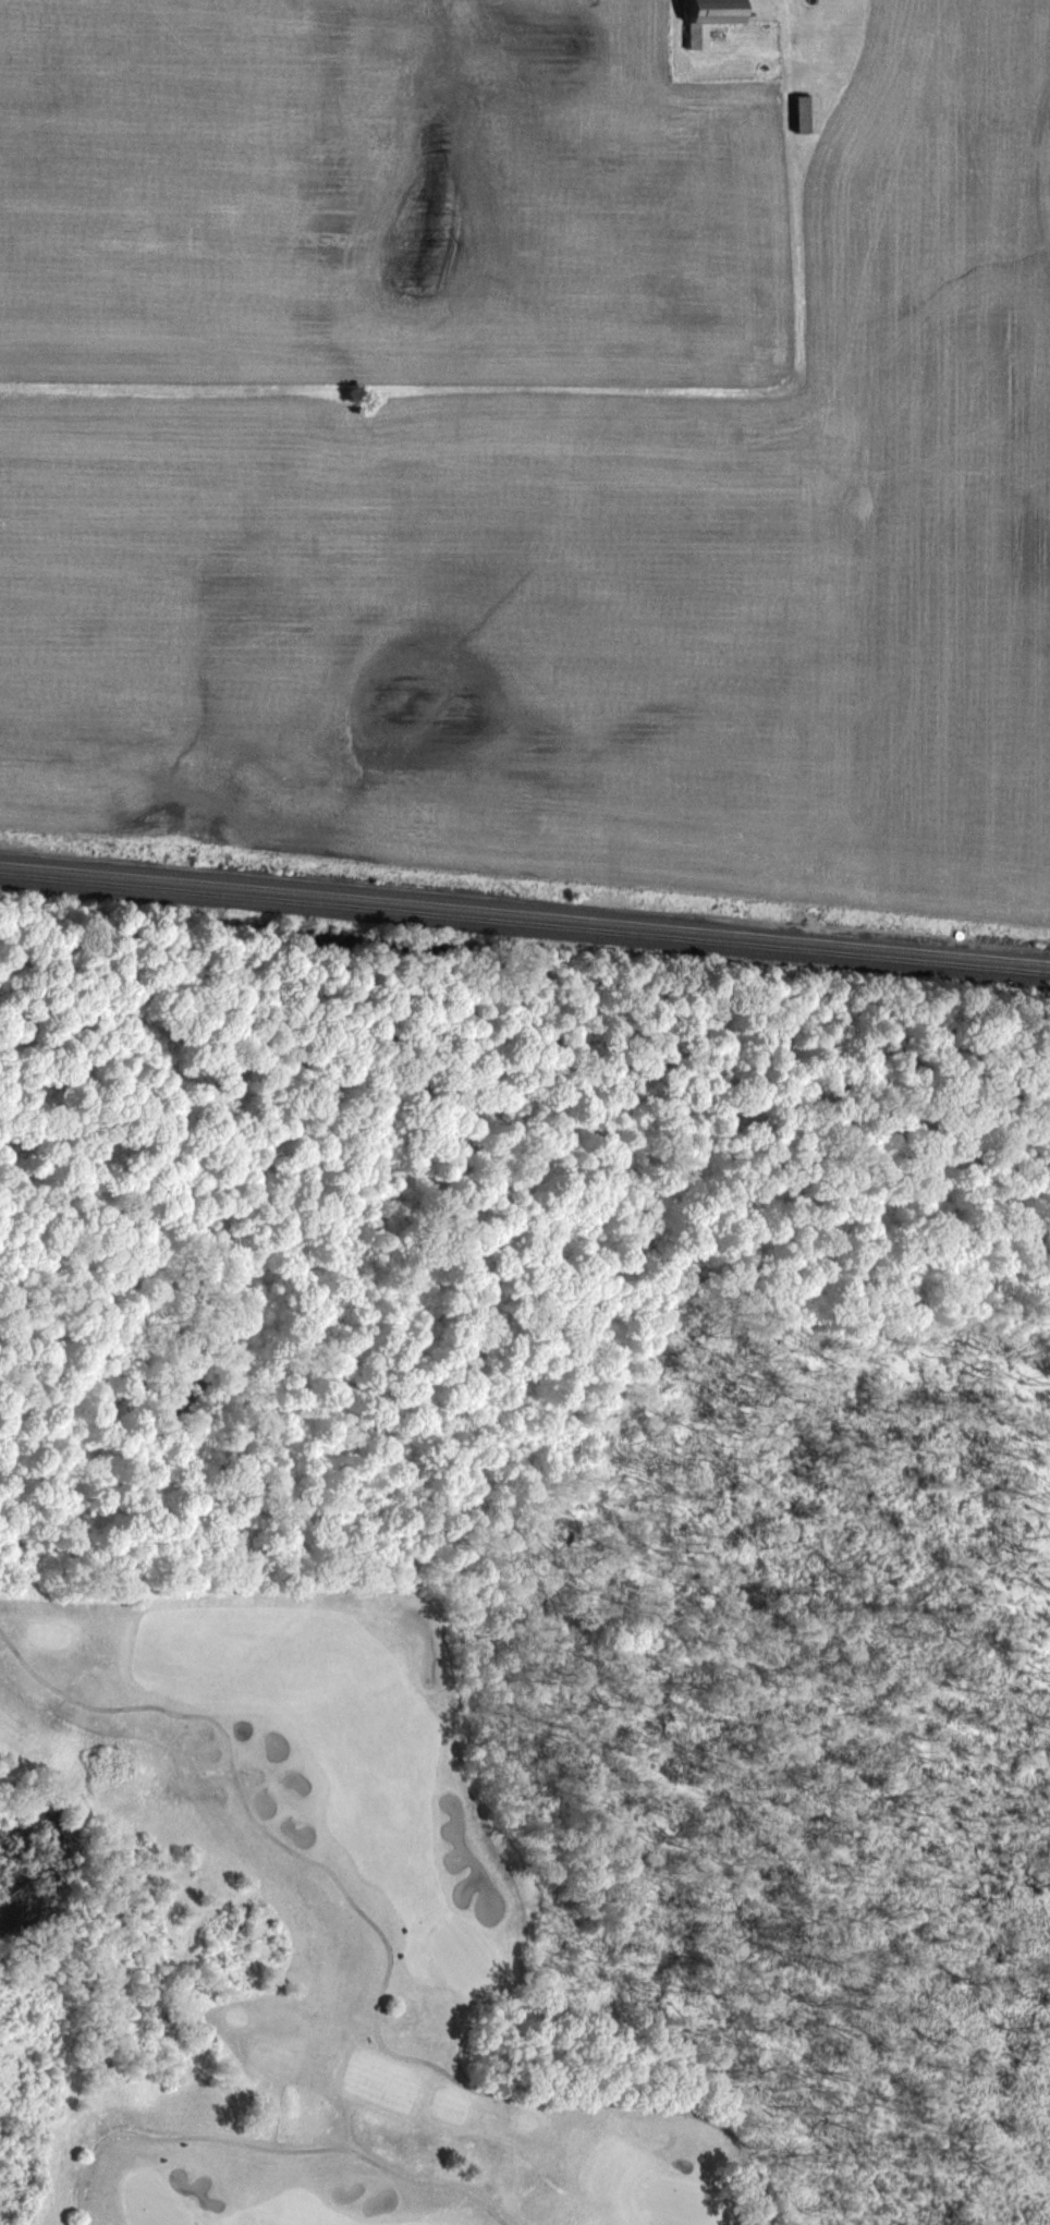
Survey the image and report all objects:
building: (704, 19)
building: (814, 48)
building: (801, 113)
railway: (525, 911)
railway: (525, 922)
road: (237, 1787)
road: (600, 2102)
road: (267, 2148)

